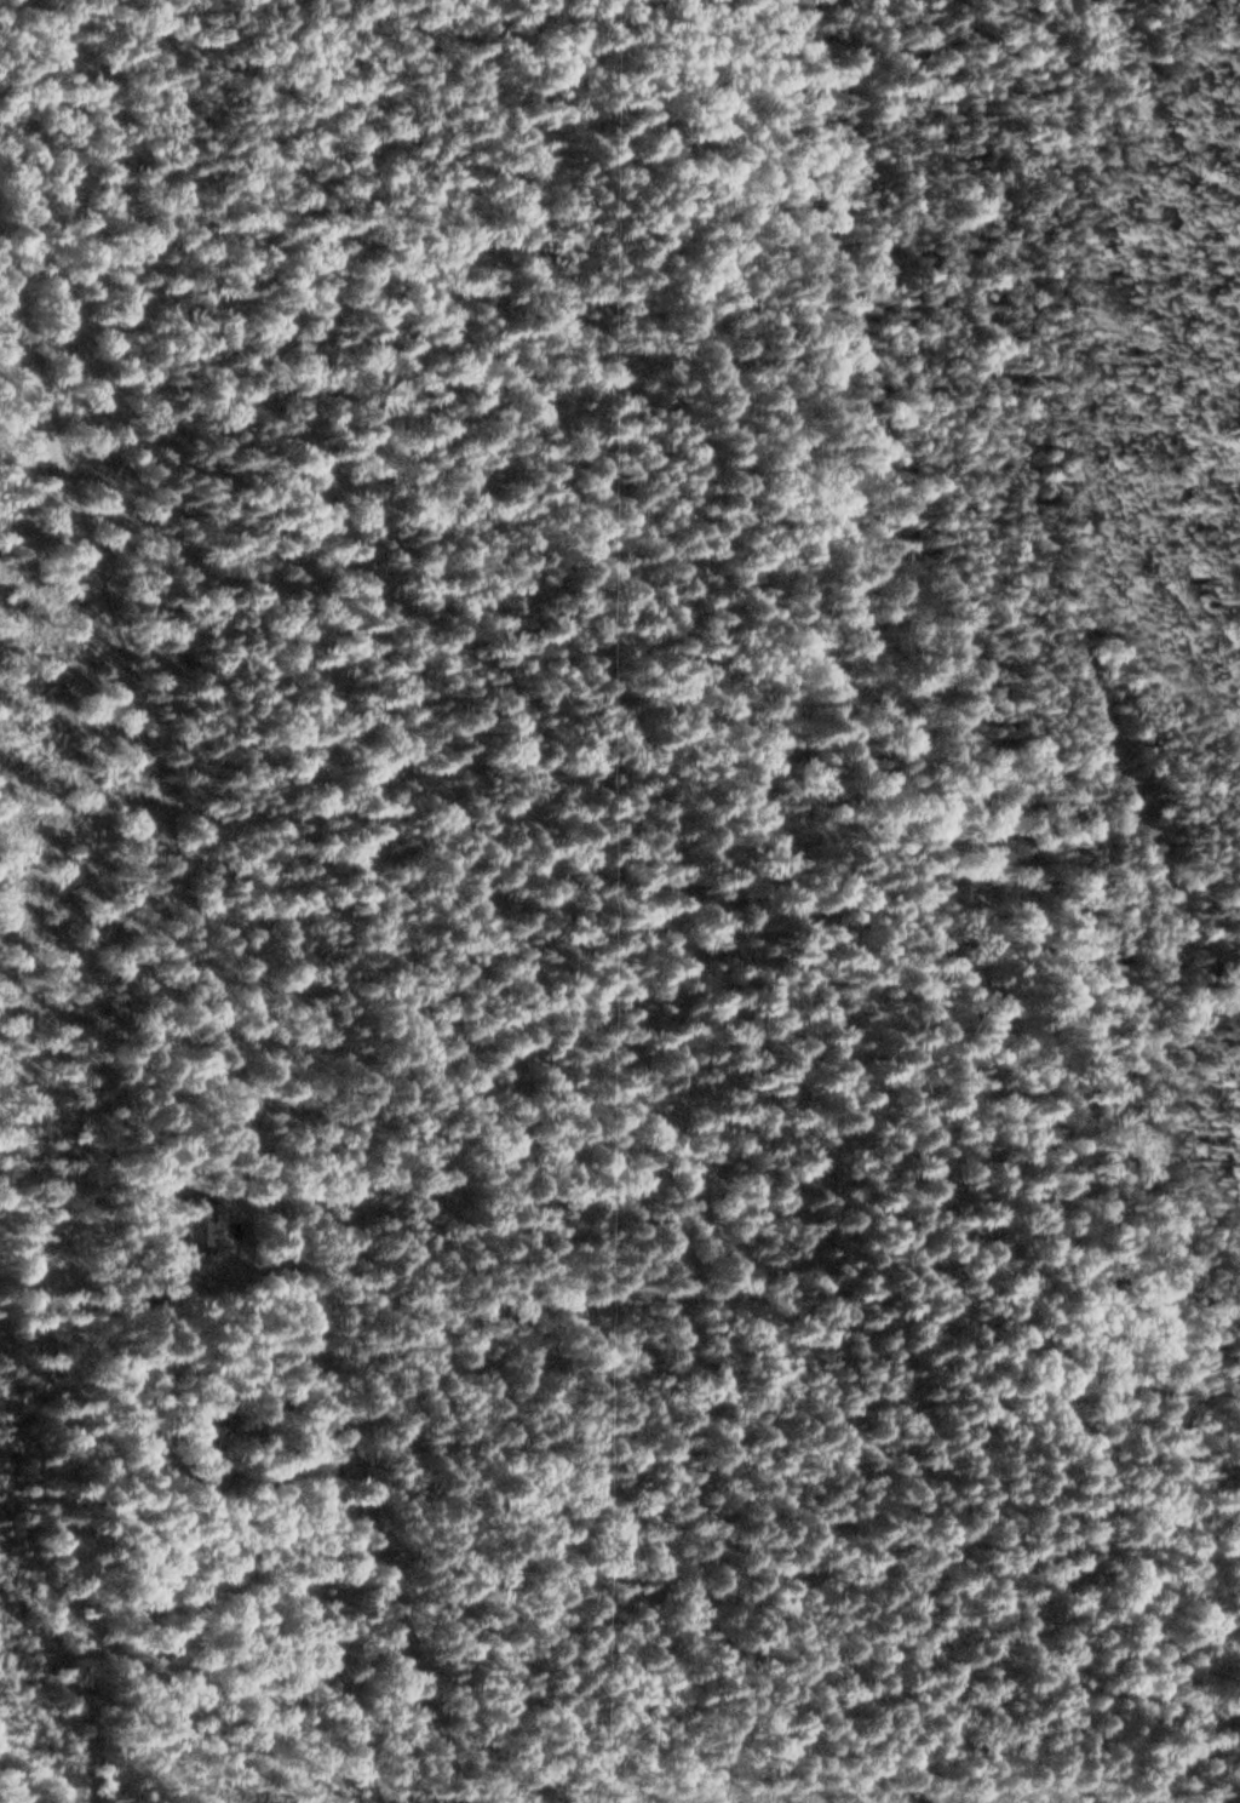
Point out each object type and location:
road: (230, 1012)
road: (951, 1043)
building: (203, 1232)
building: (211, 1431)
road: (682, 1556)

